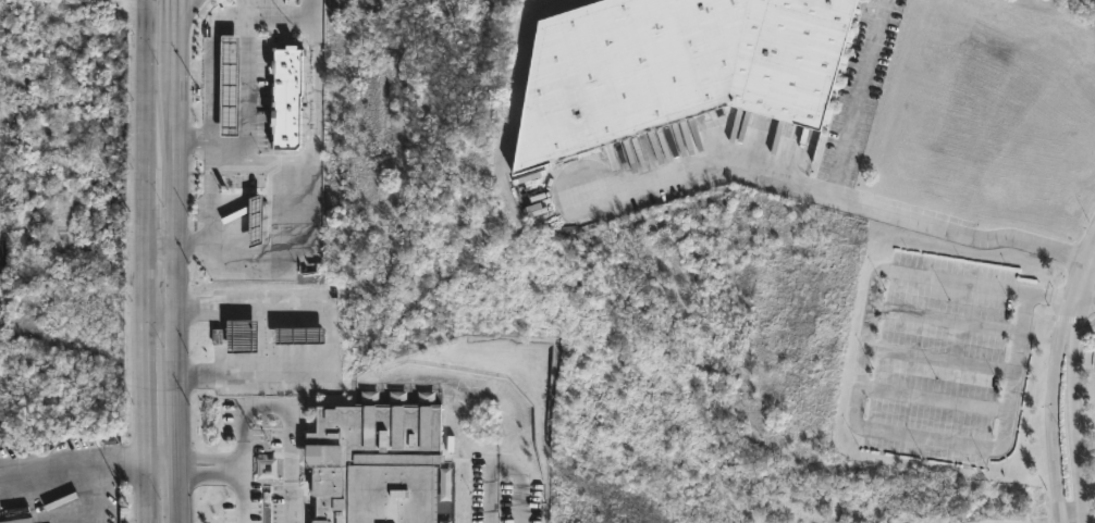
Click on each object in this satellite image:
road: (184, 18)
road: (210, 39)
building: (672, 67)
building: (227, 84)
building: (288, 95)
road: (313, 142)
road: (710, 166)
road: (860, 206)
road: (161, 247)
road: (145, 261)
road: (176, 261)
road: (1087, 302)
road: (160, 307)
building: (238, 334)
building: (298, 334)
road: (330, 340)
road: (1070, 388)
road: (854, 399)
road: (292, 419)
road: (160, 461)
road: (237, 462)
building: (372, 462)
road: (496, 462)
road: (72, 473)
road: (76, 498)

